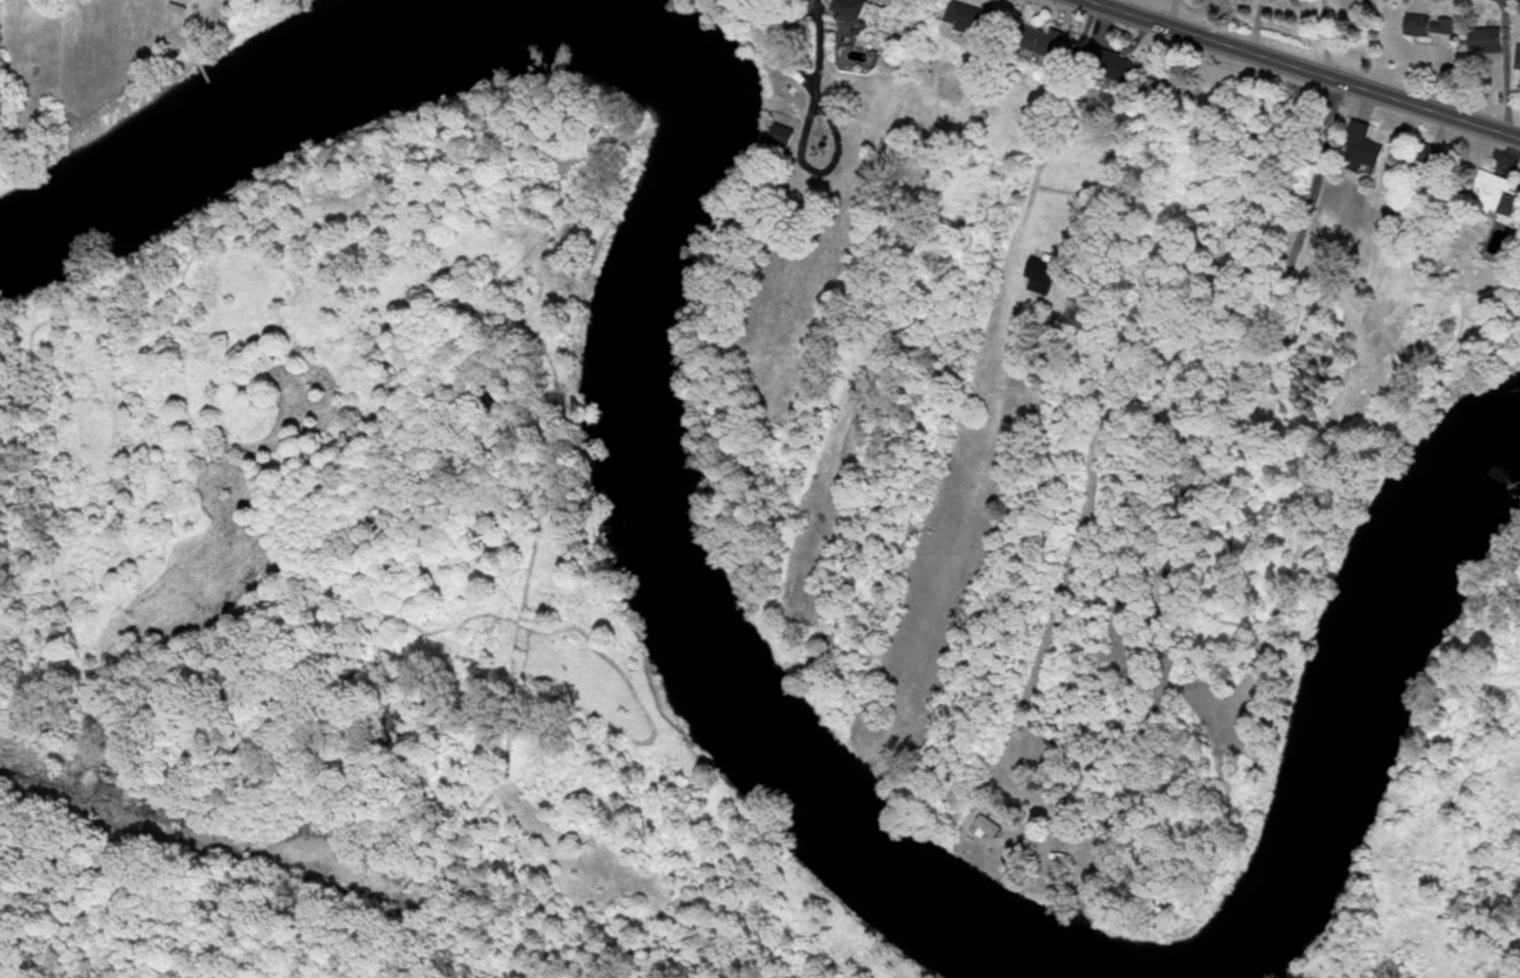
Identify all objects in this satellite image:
road: (1098, 3)
building: (857, 9)
building: (969, 19)
building: (1432, 27)
building: (1489, 42)
building: (1045, 44)
building: (857, 60)
road: (1300, 68)
building: (1122, 72)
building: (1164, 93)
building: (785, 141)
building: (1365, 151)
building: (1427, 155)
building: (1498, 193)
river: (679, 216)
building: (1043, 277)
road: (409, 675)
river: (1354, 691)
building: (989, 829)

